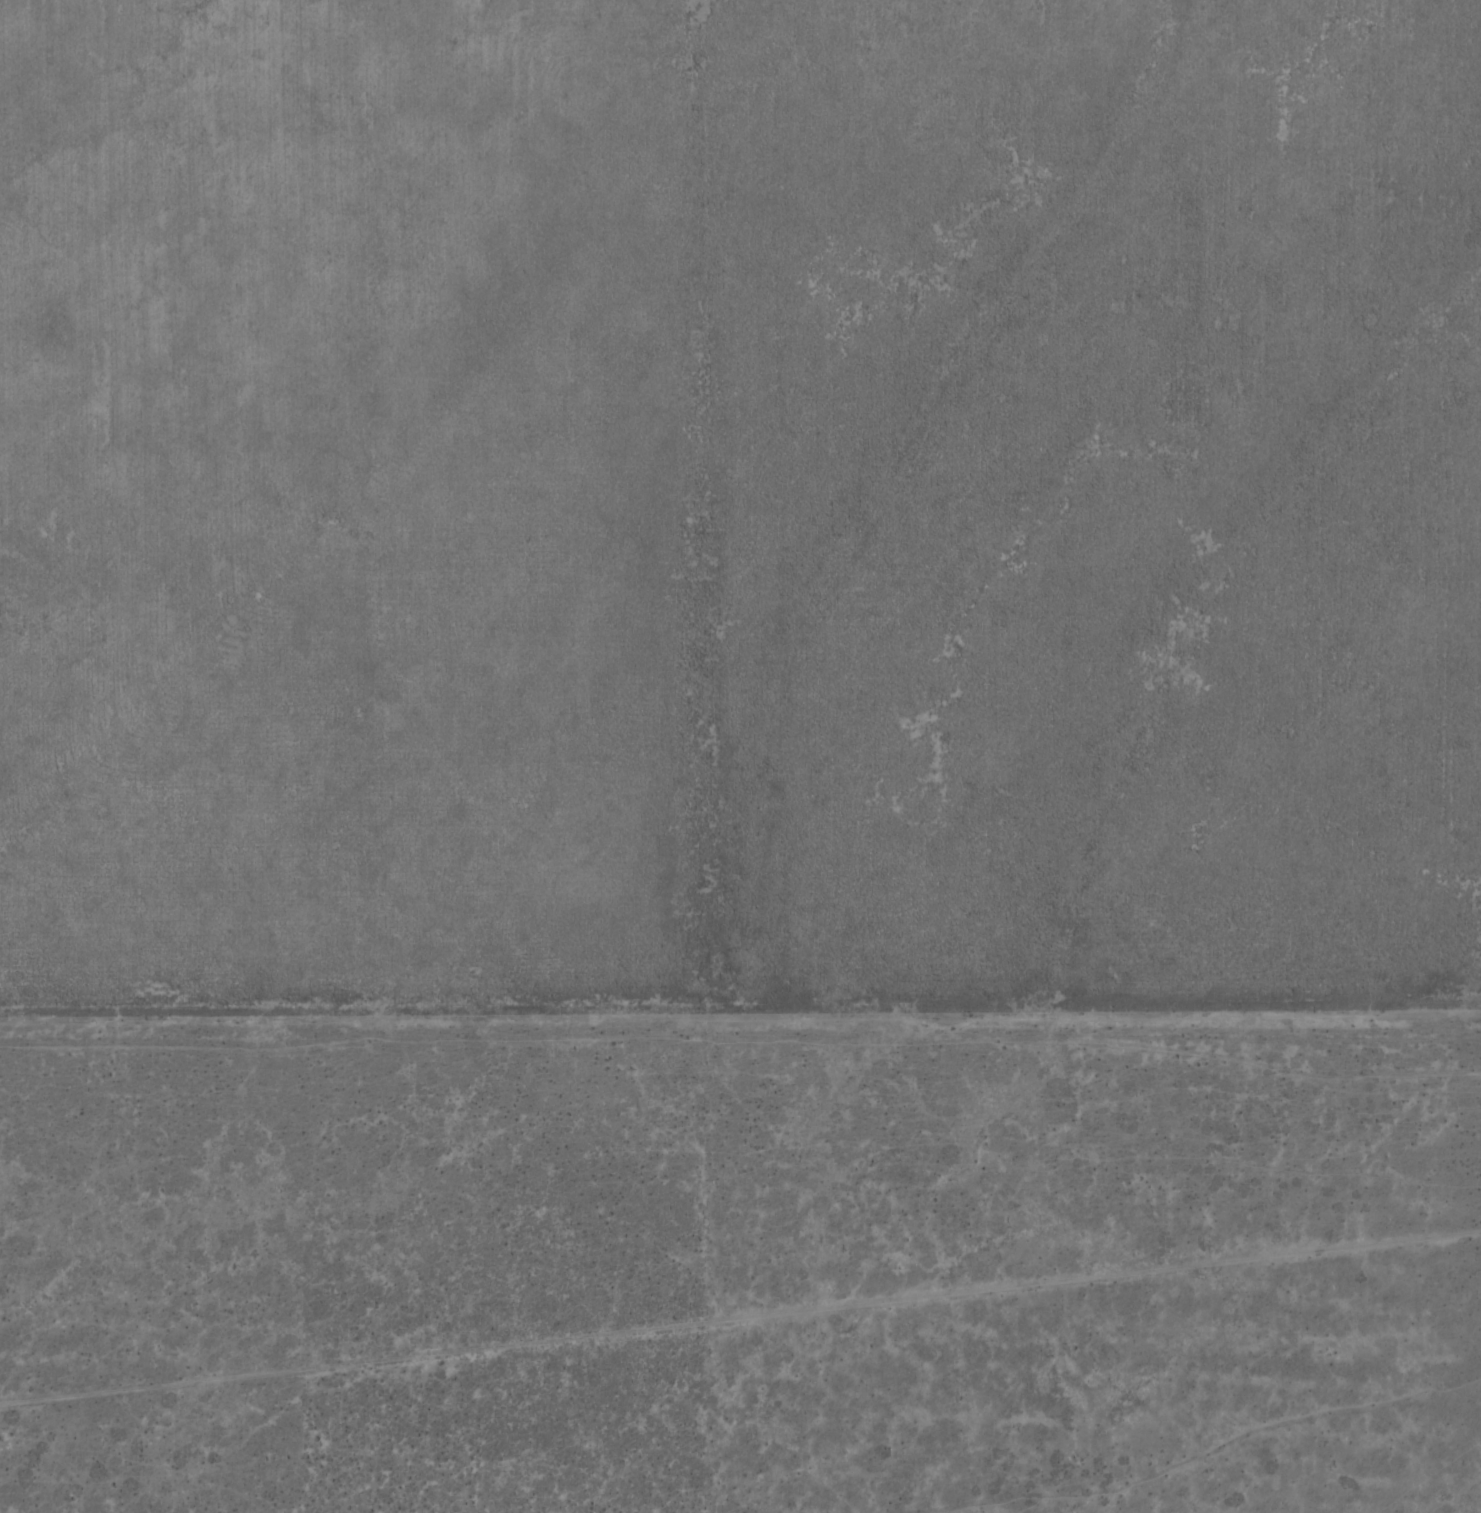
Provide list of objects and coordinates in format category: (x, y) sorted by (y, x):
road: (742, 1069)

